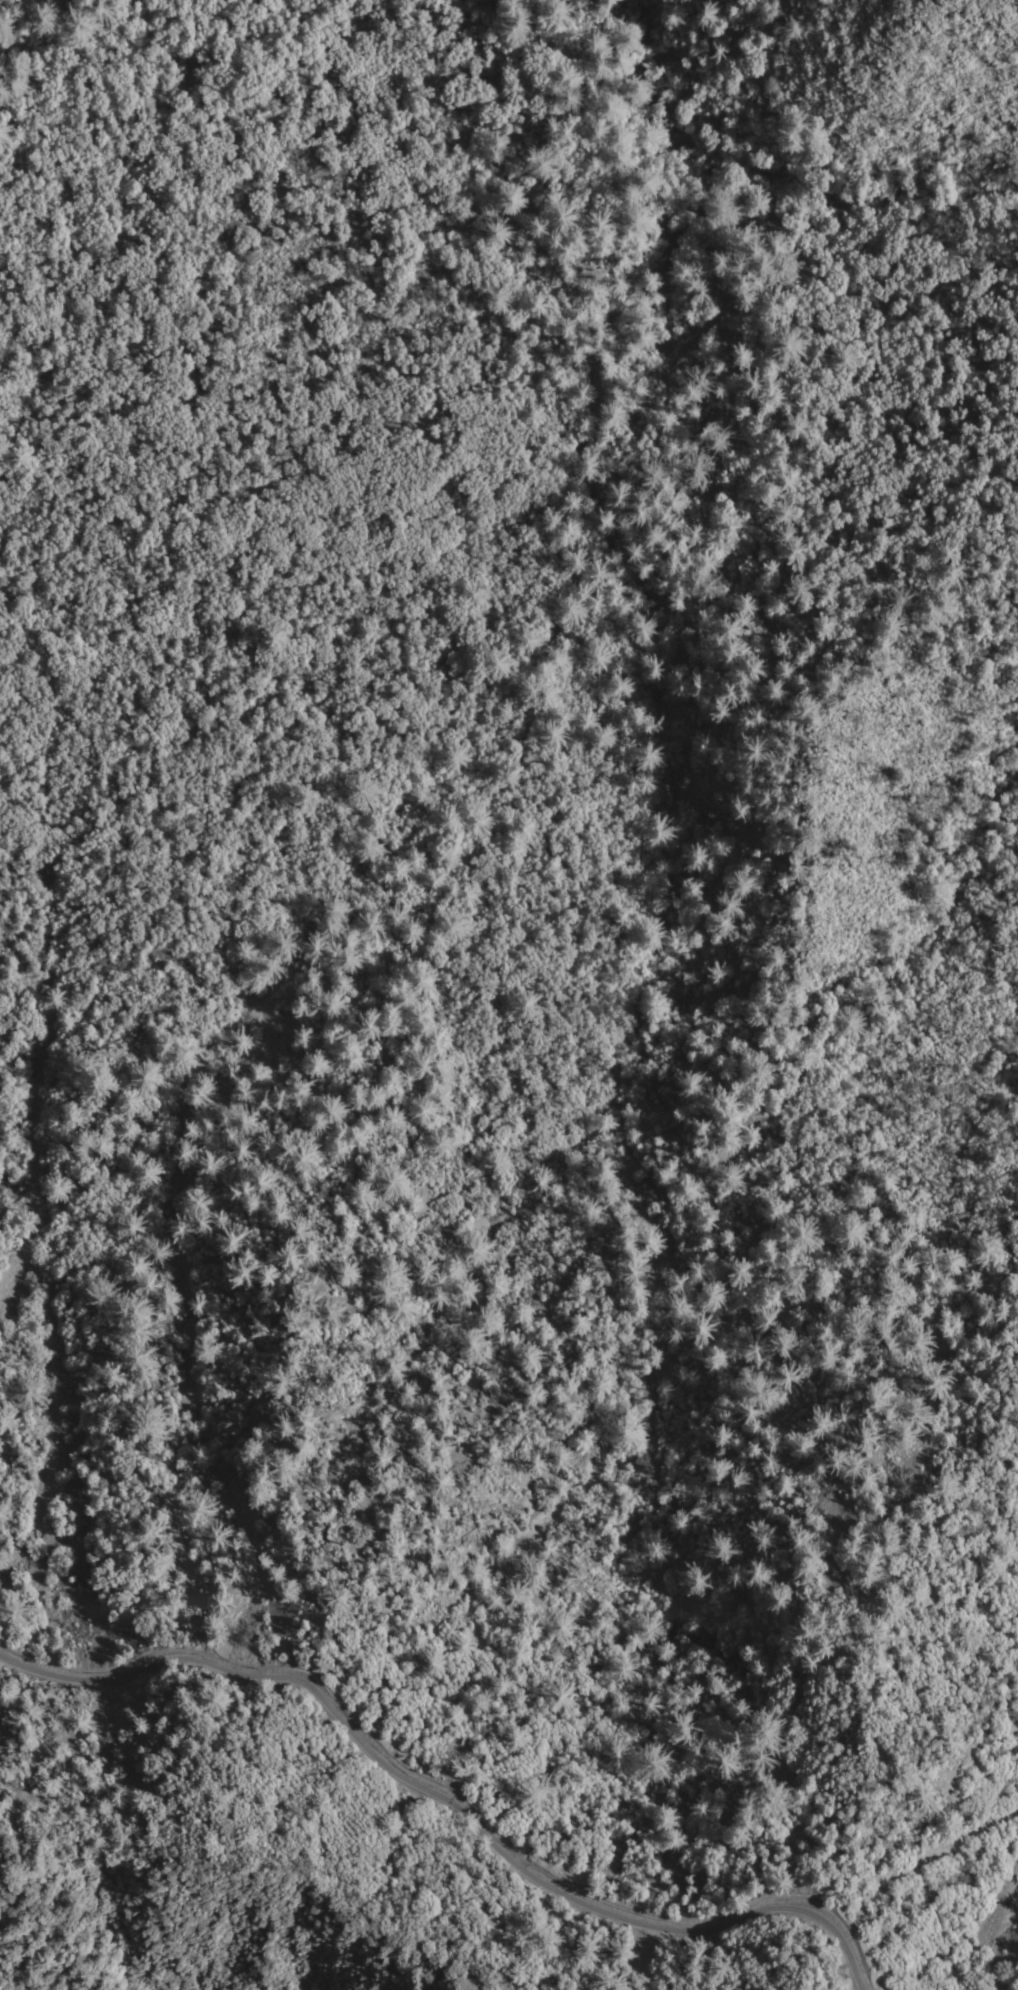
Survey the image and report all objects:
road: (451, 1798)
road: (322, 1859)
road: (789, 1958)
road: (650, 1989)

